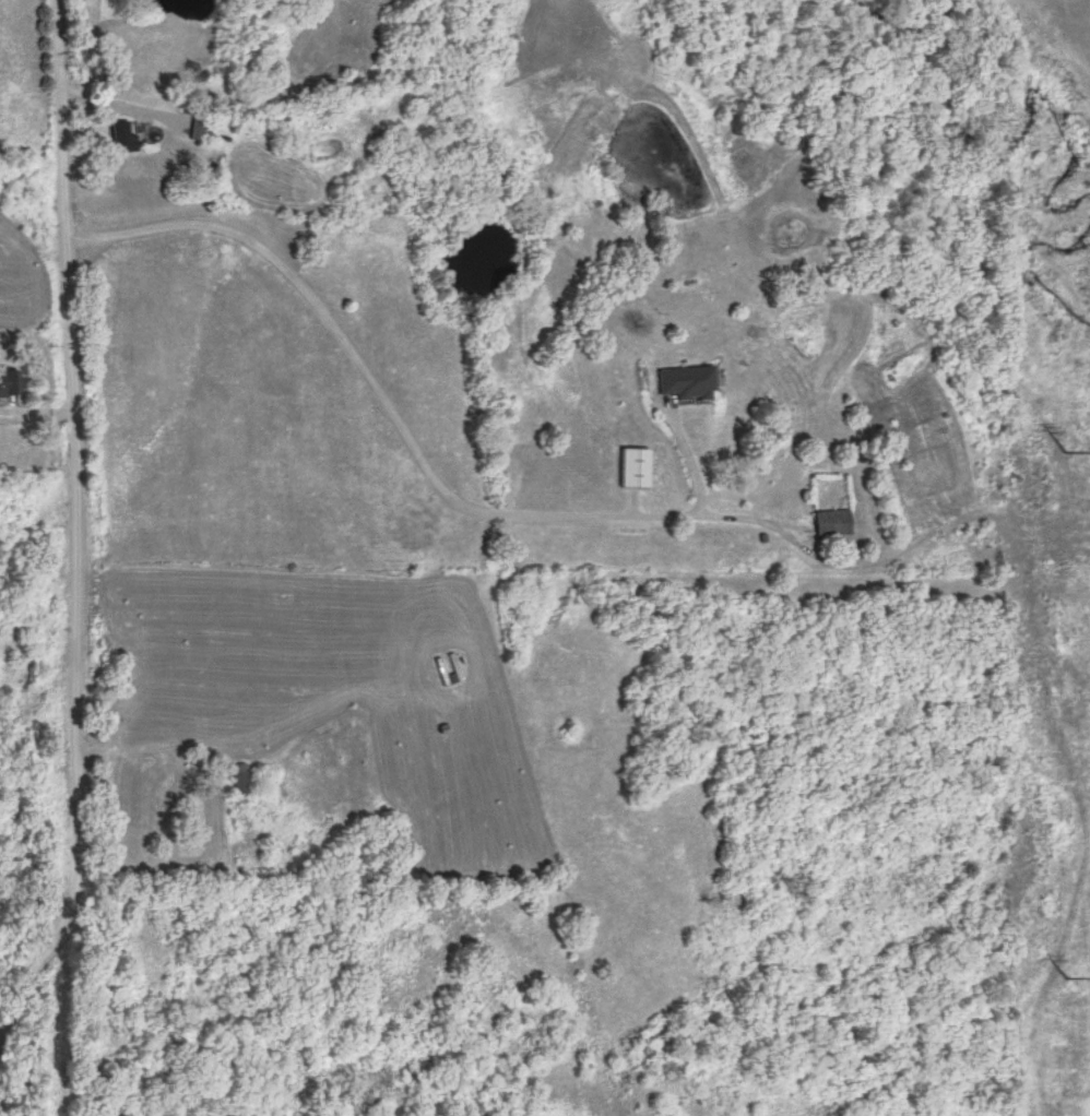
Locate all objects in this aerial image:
road: (115, 109)
building: (197, 130)
building: (119, 138)
building: (3, 379)
building: (684, 382)
road: (393, 416)
power tower: (1070, 448)
building: (630, 467)
road: (74, 522)
building: (827, 522)
building: (238, 780)
power tower: (1073, 978)

